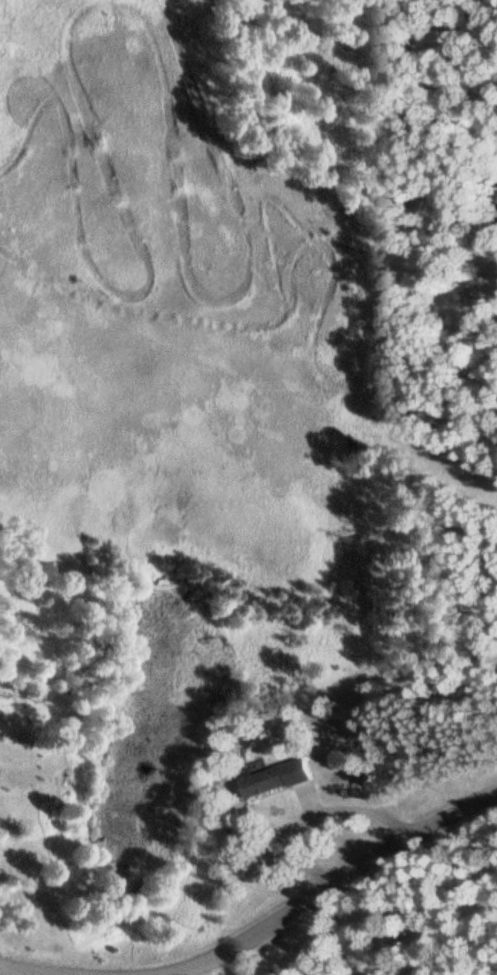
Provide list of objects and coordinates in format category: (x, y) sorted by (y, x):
building: (272, 781)
road: (335, 882)
road: (18, 973)

